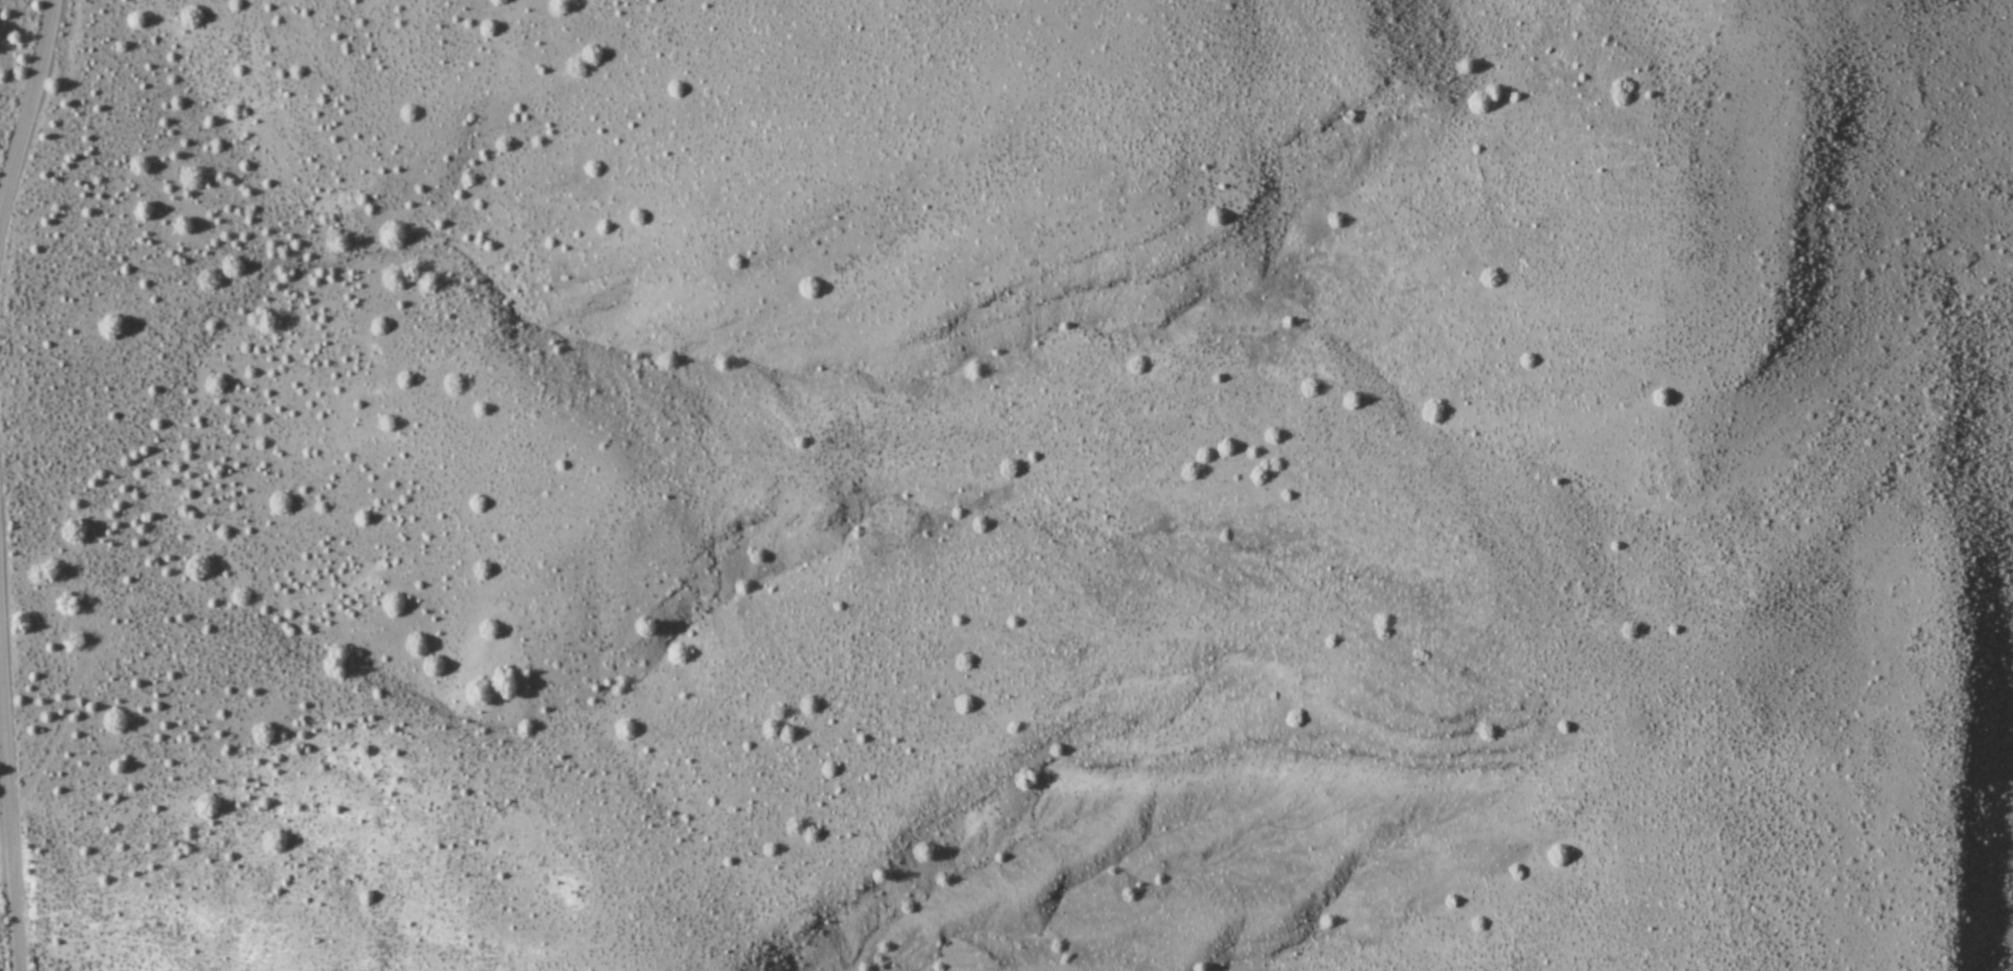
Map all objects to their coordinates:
road: (28, 107)
road: (9, 817)

